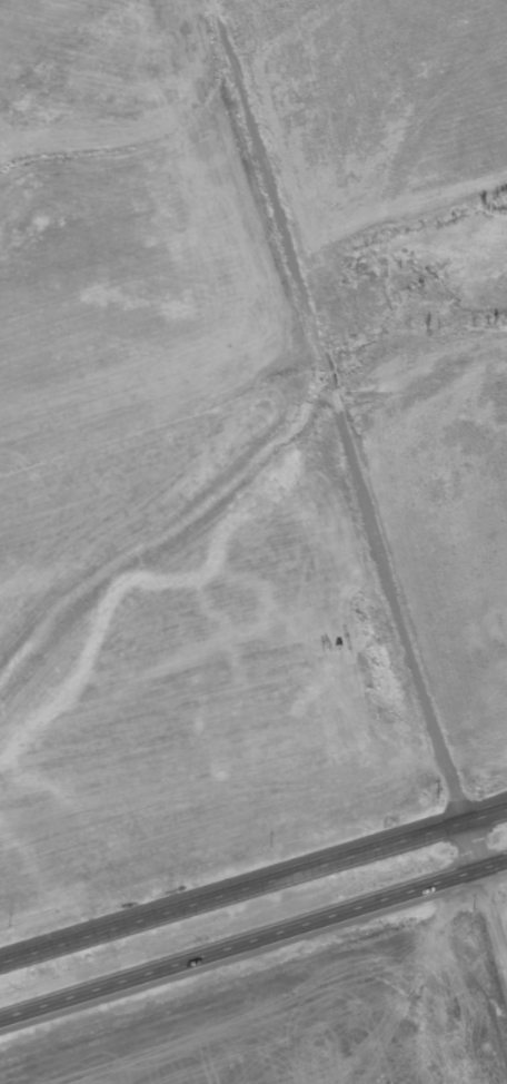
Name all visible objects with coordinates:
road: (344, 411)
road: (254, 887)
road: (487, 887)
road: (254, 947)

